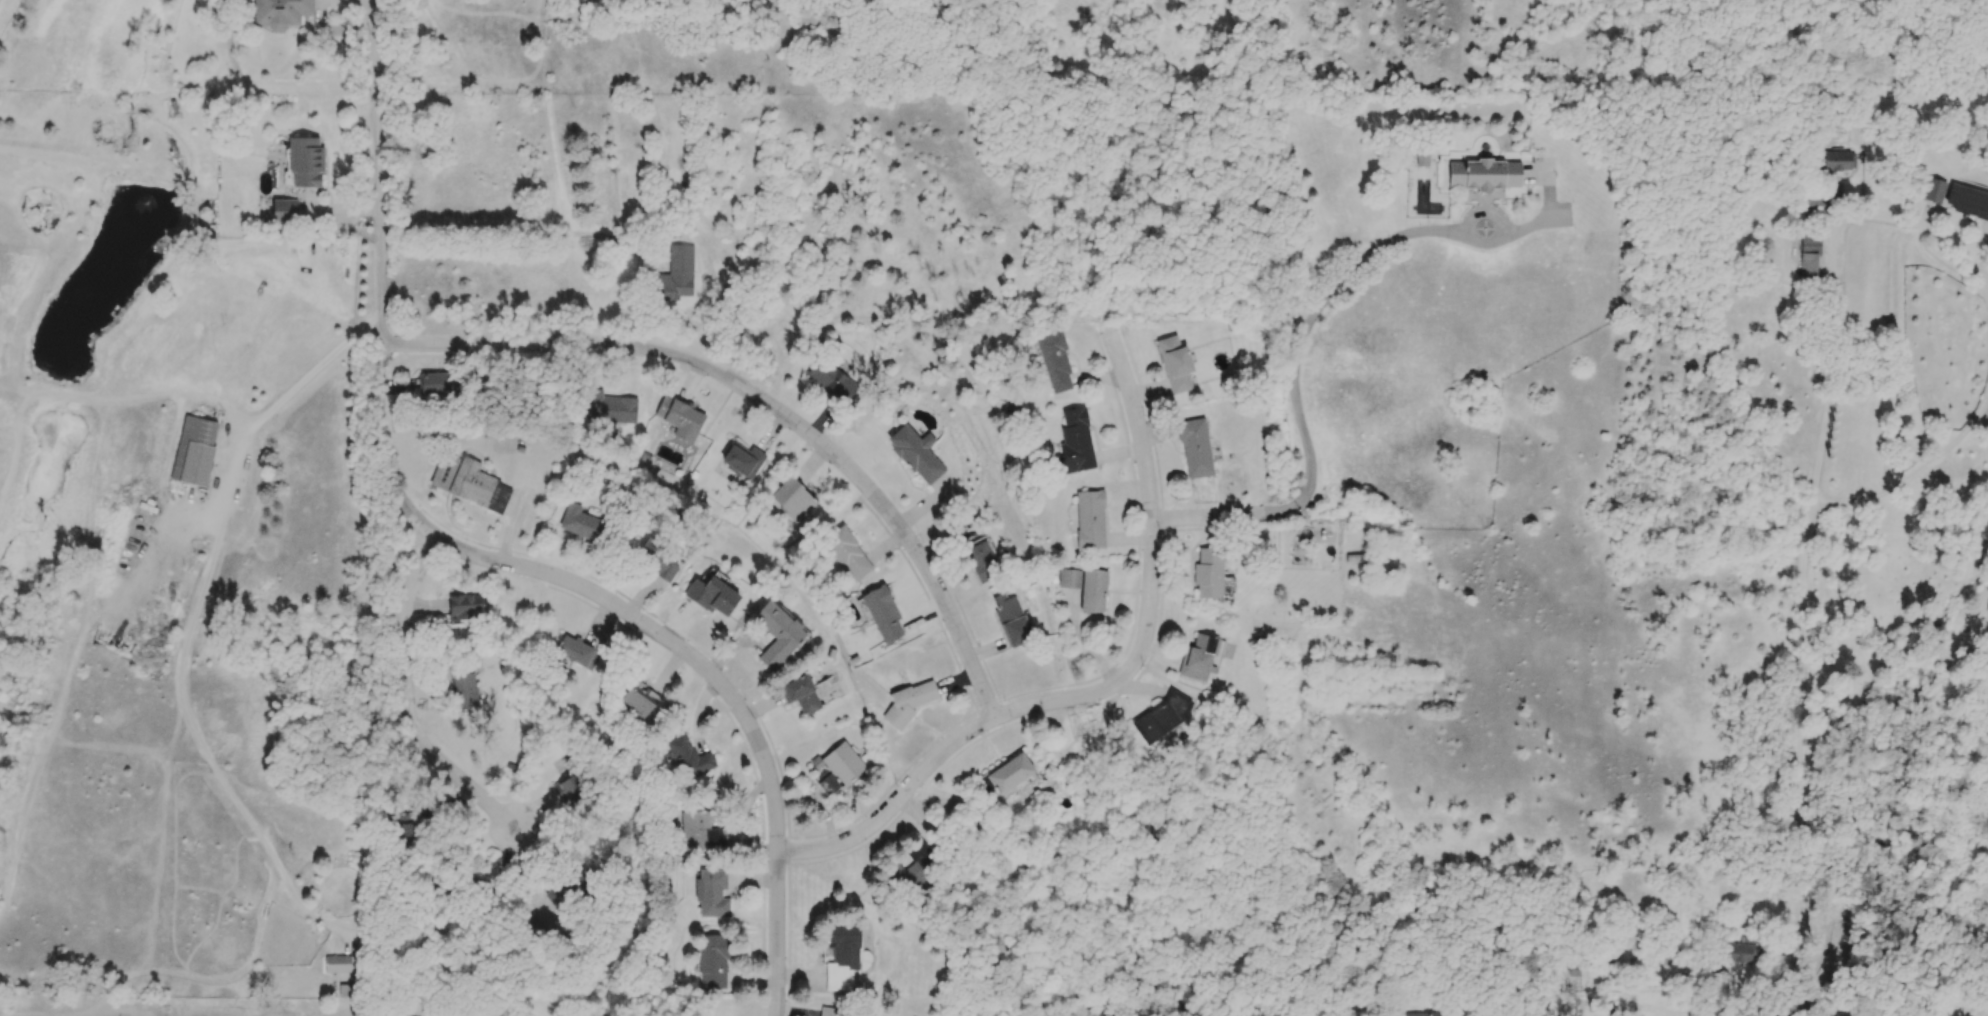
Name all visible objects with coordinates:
building: (281, 13)
building: (306, 161)
building: (1839, 163)
building: (1483, 174)
building: (1933, 190)
building: (1967, 201)
building: (284, 211)
building: (1809, 256)
road: (1834, 267)
building: (677, 274)
road: (381, 279)
road: (1314, 311)
road: (508, 343)
building: (1055, 362)
building: (1175, 364)
building: (831, 381)
building: (439, 384)
building: (610, 408)
building: (680, 418)
building: (1075, 442)
building: (1195, 448)
building: (1910, 448)
building: (194, 451)
building: (916, 454)
building: (742, 459)
road: (1916, 470)
road: (863, 482)
building: (469, 483)
road: (1148, 485)
building: (793, 499)
road: (1282, 507)
road: (1210, 515)
building: (1090, 519)
building: (580, 522)
building: (848, 554)
building: (982, 560)
building: (657, 561)
building: (1208, 573)
building: (1067, 578)
building: (1093, 590)
building: (711, 596)
building: (465, 607)
road: (196, 613)
building: (882, 613)
building: (1011, 619)
building: (777, 633)
building: (577, 652)
building: (1201, 657)
building: (465, 690)
road: (728, 694)
building: (801, 694)
road: (406, 699)
building: (639, 699)
building: (910, 702)
building: (1161, 716)
road: (955, 742)
road: (1797, 755)
building: (688, 758)
building: (842, 762)
building: (1010, 773)
building: (829, 784)
building: (568, 789)
park: (1382, 815)
building: (700, 832)
building: (908, 868)
building: (711, 893)
building: (843, 946)
building: (1740, 952)
building: (712, 962)
building: (337, 964)
building: (830, 1011)
road: (1857, 1013)
building: (1424, 1014)
road: (1793, 1014)
road: (1863, 1014)

